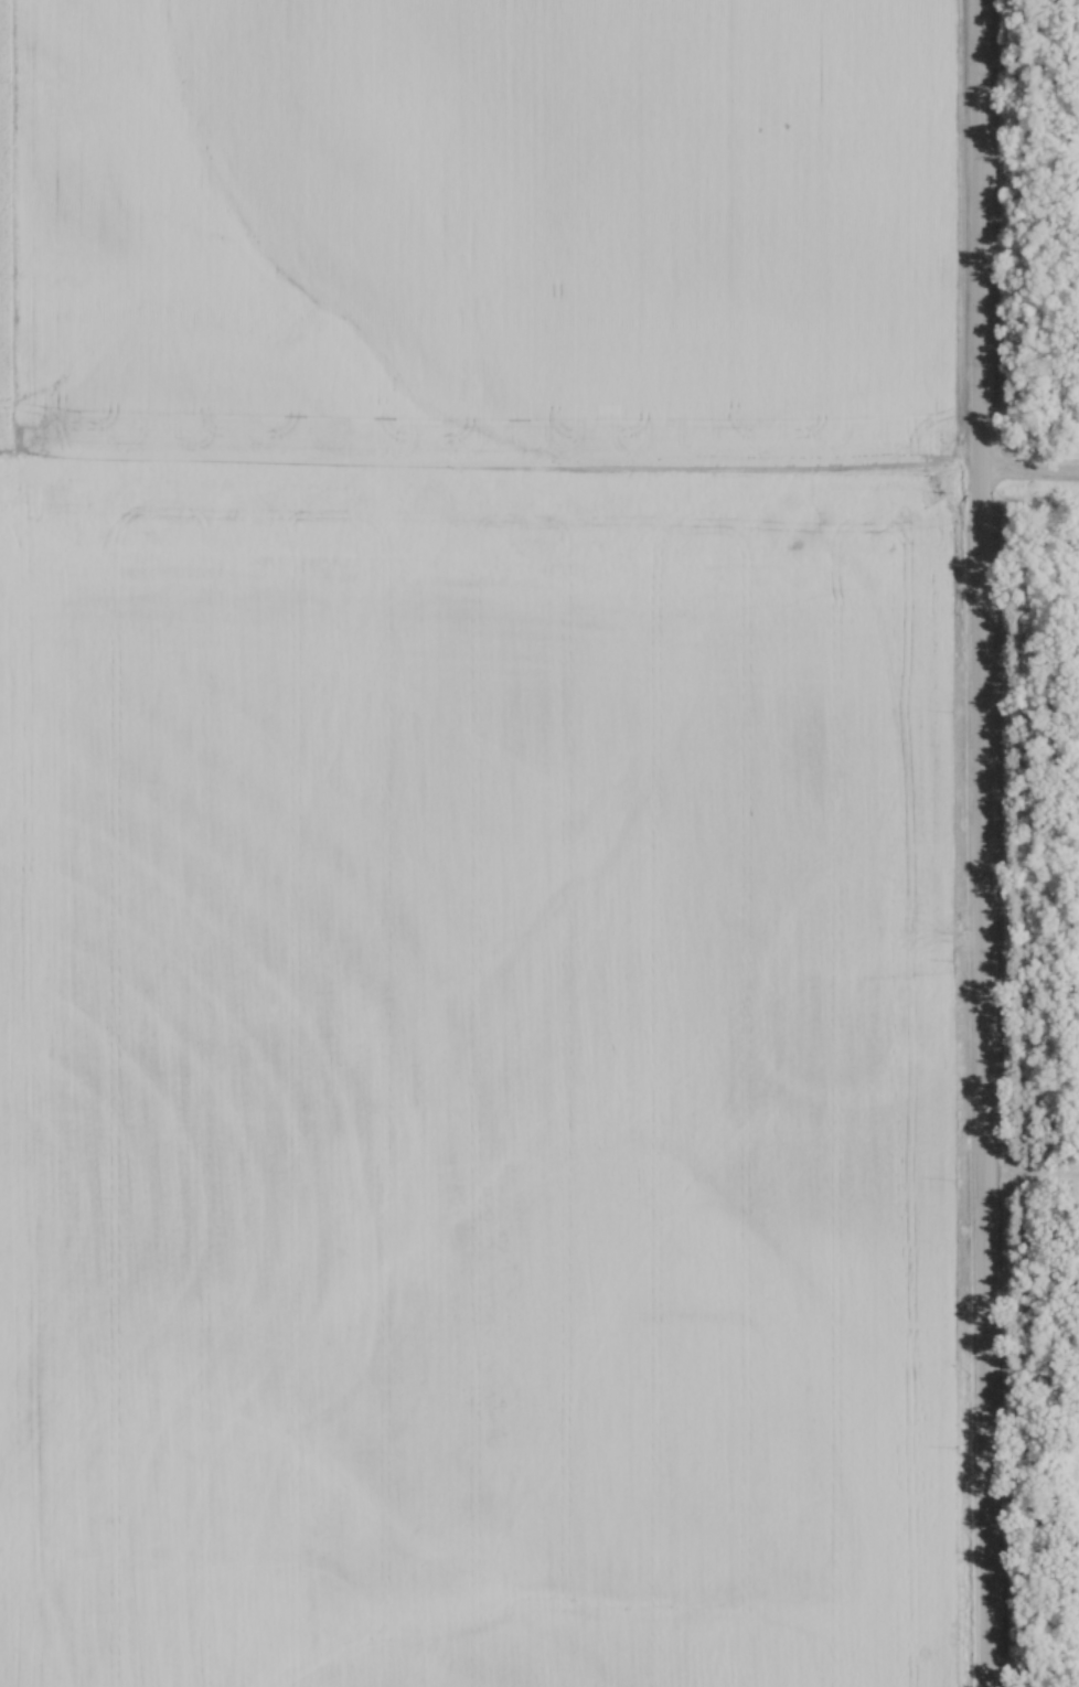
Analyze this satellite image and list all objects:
road: (1028, 477)
road: (980, 843)

